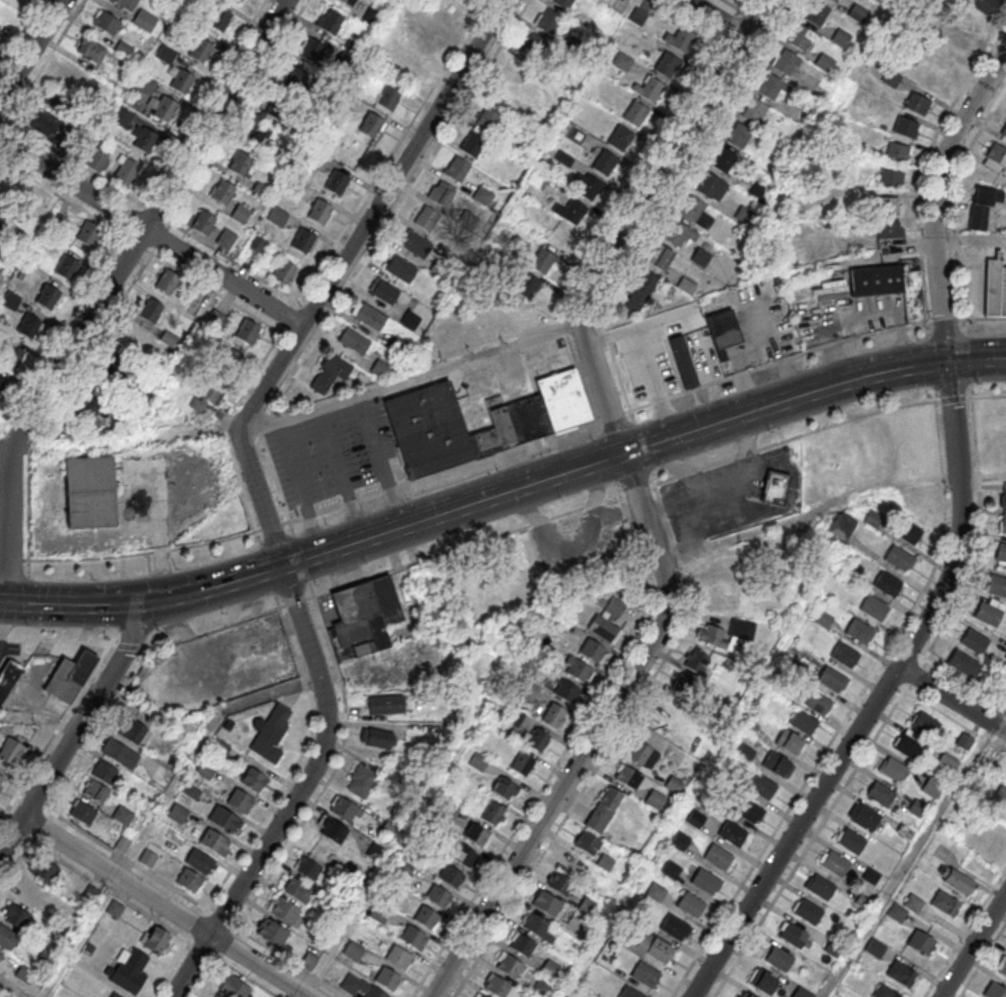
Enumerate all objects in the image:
building: (834, 1)
building: (346, 2)
building: (126, 3)
building: (564, 3)
building: (449, 5)
building: (984, 5)
building: (857, 12)
building: (816, 13)
road: (713, 17)
building: (220, 18)
building: (144, 19)
building: (106, 21)
building: (330, 21)
building: (548, 21)
building: (0, 31)
building: (840, 37)
building: (959, 38)
building: (425, 39)
building: (681, 39)
building: (802, 39)
building: (534, 47)
building: (90, 48)
road: (30, 49)
building: (201, 50)
building: (311, 51)
building: (165, 53)
building: (788, 63)
building: (667, 64)
building: (407, 68)
building: (73, 74)
building: (293, 78)
building: (181, 80)
building: (771, 86)
building: (650, 89)
building: (388, 97)
building: (917, 103)
building: (160, 106)
building: (276, 107)
building: (753, 111)
building: (636, 113)
building: (486, 119)
building: (371, 124)
building: (48, 126)
building: (906, 126)
building: (1003, 129)
building: (259, 135)
building: (736, 135)
building: (620, 137)
building: (143, 138)
building: (472, 144)
building: (897, 151)
building: (995, 157)
building: (721, 159)
building: (602, 160)
building: (240, 163)
building: (456, 167)
building: (125, 172)
building: (890, 177)
building: (336, 181)
building: (585, 184)
building: (708, 184)
building: (2, 185)
building: (223, 192)
building: (440, 193)
building: (483, 193)
road: (935, 198)
building: (891, 204)
building: (1, 205)
building: (982, 206)
building: (319, 210)
building: (570, 210)
building: (240, 212)
building: (694, 212)
building: (277, 215)
building: (744, 215)
road: (626, 217)
building: (426, 219)
building: (203, 222)
building: (890, 228)
building: (88, 232)
road: (151, 233)
building: (678, 234)
building: (226, 238)
building: (303, 240)
road: (970, 241)
building: (258, 244)
building: (415, 244)
building: (659, 256)
building: (700, 257)
building: (543, 260)
building: (66, 266)
building: (400, 269)
building: (285, 271)
road: (336, 274)
building: (166, 281)
building: (526, 285)
building: (890, 286)
building: (995, 288)
road: (106, 289)
building: (639, 290)
building: (383, 292)
building: (48, 296)
building: (10, 300)
building: (149, 309)
building: (370, 317)
road: (953, 320)
building: (29, 325)
building: (247, 331)
building: (722, 331)
building: (353, 341)
building: (11, 355)
building: (118, 355)
building: (232, 356)
road: (976, 360)
traffic signals: (947, 363)
building: (684, 366)
building: (379, 368)
road: (651, 371)
building: (330, 373)
road: (412, 379)
building: (3, 386)
building: (207, 395)
building: (91, 399)
building: (562, 399)
building: (476, 408)
building: (519, 420)
building: (428, 429)
road: (794, 438)
road: (127, 442)
parking lot: (334, 455)
road: (612, 456)
road: (380, 461)
road: (455, 469)
road: (341, 473)
road: (300, 486)
building: (775, 487)
building: (90, 490)
building: (1003, 499)
road: (979, 517)
building: (1003, 522)
building: (842, 525)
building: (908, 531)
building: (1001, 552)
building: (898, 559)
building: (853, 570)
building: (722, 571)
road: (221, 584)
building: (887, 584)
building: (996, 585)
road: (330, 589)
traffic signals: (159, 597)
building: (720, 603)
road: (79, 604)
building: (873, 608)
building: (989, 612)
building: (363, 617)
building: (604, 630)
building: (860, 632)
building: (727, 635)
building: (974, 641)
building: (591, 650)
building: (844, 655)
building: (1005, 657)
building: (695, 661)
building: (964, 664)
building: (578, 670)
road: (914, 674)
building: (8, 675)
building: (69, 676)
building: (830, 679)
road: (965, 685)
building: (681, 686)
building: (566, 692)
road: (878, 695)
road: (858, 697)
road: (951, 699)
building: (816, 701)
building: (385, 704)
building: (668, 706)
building: (553, 715)
road: (40, 721)
building: (802, 722)
road: (80, 724)
building: (925, 725)
building: (131, 730)
building: (270, 732)
road: (594, 735)
building: (376, 737)
building: (537, 738)
building: (963, 740)
building: (790, 743)
building: (909, 746)
building: (10, 750)
building: (119, 753)
building: (745, 754)
building: (642, 755)
building: (948, 760)
building: (523, 763)
building: (777, 765)
building: (893, 770)
building: (104, 771)
building: (205, 771)
building: (253, 778)
building: (627, 778)
building: (1, 779)
building: (363, 780)
building: (673, 783)
building: (931, 786)
road: (584, 787)
building: (762, 787)
building: (506, 788)
building: (95, 791)
building: (191, 791)
road: (298, 792)
road: (840, 793)
building: (879, 794)
building: (1000, 796)
building: (654, 798)
building: (240, 800)
building: (916, 807)
building: (345, 808)
building: (603, 810)
building: (748, 811)
building: (82, 812)
building: (178, 813)
building: (493, 813)
building: (122, 814)
building: (695, 818)
building: (866, 818)
building: (225, 819)
building: (333, 829)
building: (732, 834)
building: (477, 836)
building: (680, 840)
building: (215, 841)
building: (851, 842)
building: (122, 843)
building: (586, 844)
building: (463, 856)
building: (148, 858)
building: (718, 858)
building: (199, 860)
building: (572, 862)
building: (835, 865)
building: (308, 867)
building: (671, 869)
building: (43, 870)
building: (451, 876)
building: (870, 876)
building: (955, 878)
building: (189, 879)
building: (704, 882)
building: (560, 884)
building: (821, 888)
building: (297, 889)
building: (656, 891)
building: (26, 894)
building: (437, 896)
building: (546, 904)
building: (586, 904)
building: (913, 904)
building: (945, 904)
building: (690, 905)
road: (166, 906)
building: (114, 909)
building: (284, 909)
building: (808, 912)
building: (380, 913)
building: (896, 913)
building: (16, 916)
building: (426, 917)
building: (535, 924)
building: (674, 928)
road: (237, 929)
road: (965, 931)
building: (273, 932)
building: (794, 936)
building: (7, 937)
building: (414, 938)
building: (156, 939)
building: (921, 943)
road: (972, 944)
building: (522, 945)
building: (649, 947)
building: (876, 947)
building: (353, 951)
building: (0, 954)
building: (399, 957)
building: (779, 959)
building: (509, 966)
building: (1002, 966)
road: (170, 968)
building: (551, 968)
building: (128, 971)
building: (25, 974)
building: (645, 974)
building: (901, 974)
building: (387, 979)
building: (763, 982)
building: (544, 985)
building: (497, 986)
building: (234, 987)
building: (361, 987)
building: (994, 991)
building: (630, 992)
building: (801, 992)
building: (884, 992)
building: (743, 994)
building: (115, 995)
building: (480, 996)

